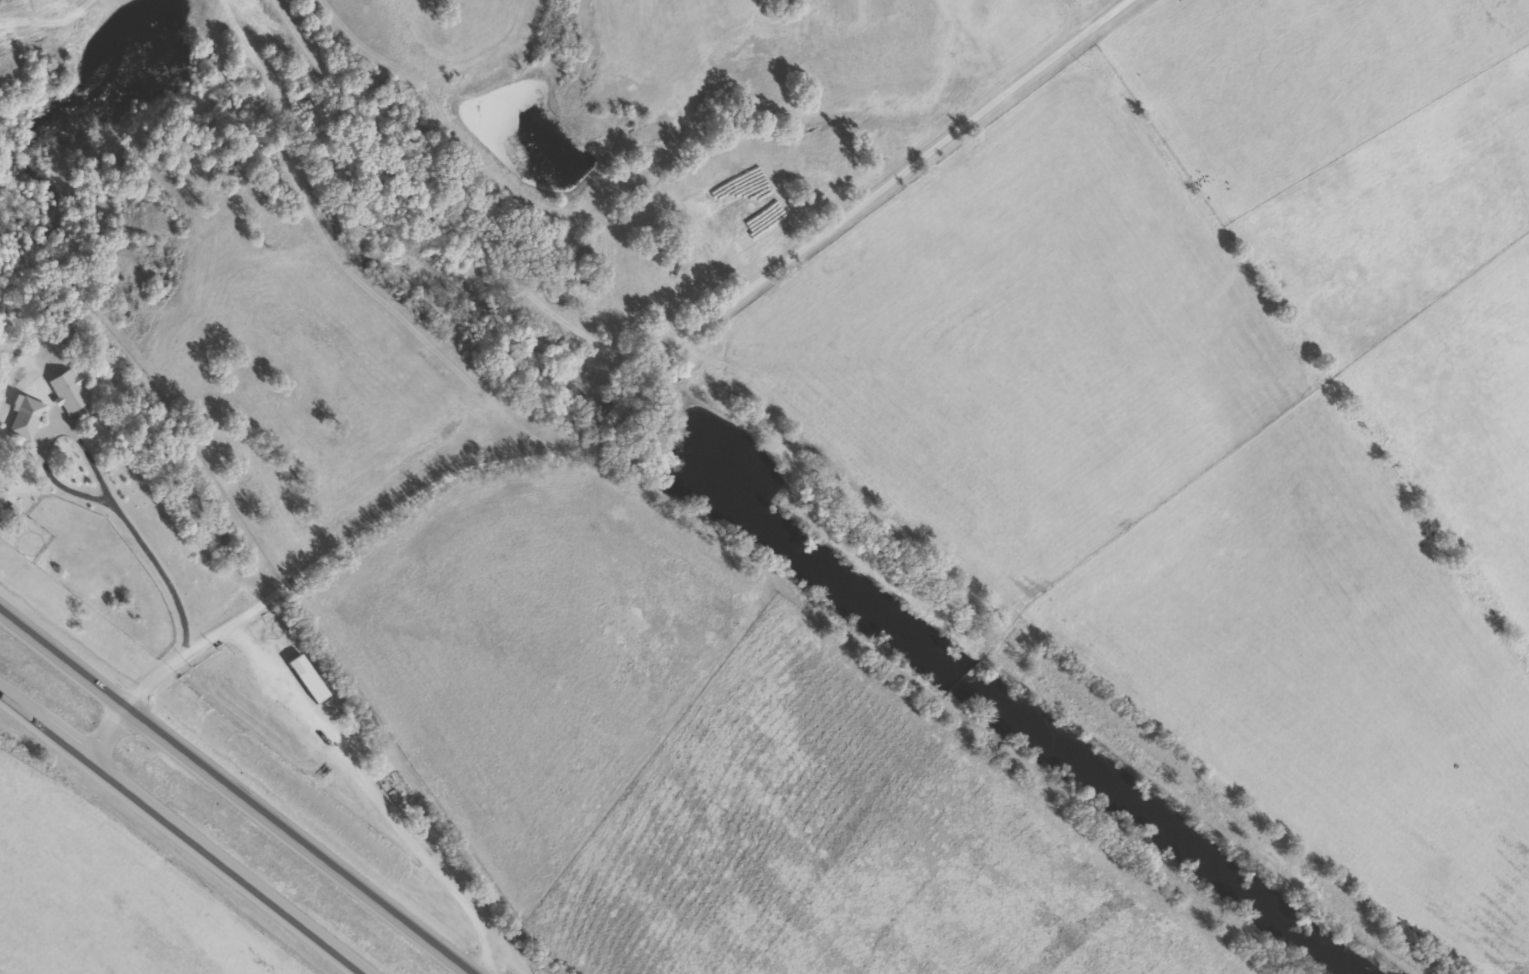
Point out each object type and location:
road: (608, 365)
building: (69, 392)
building: (27, 416)
railway: (760, 511)
building: (308, 678)
road: (238, 790)
road: (187, 829)

